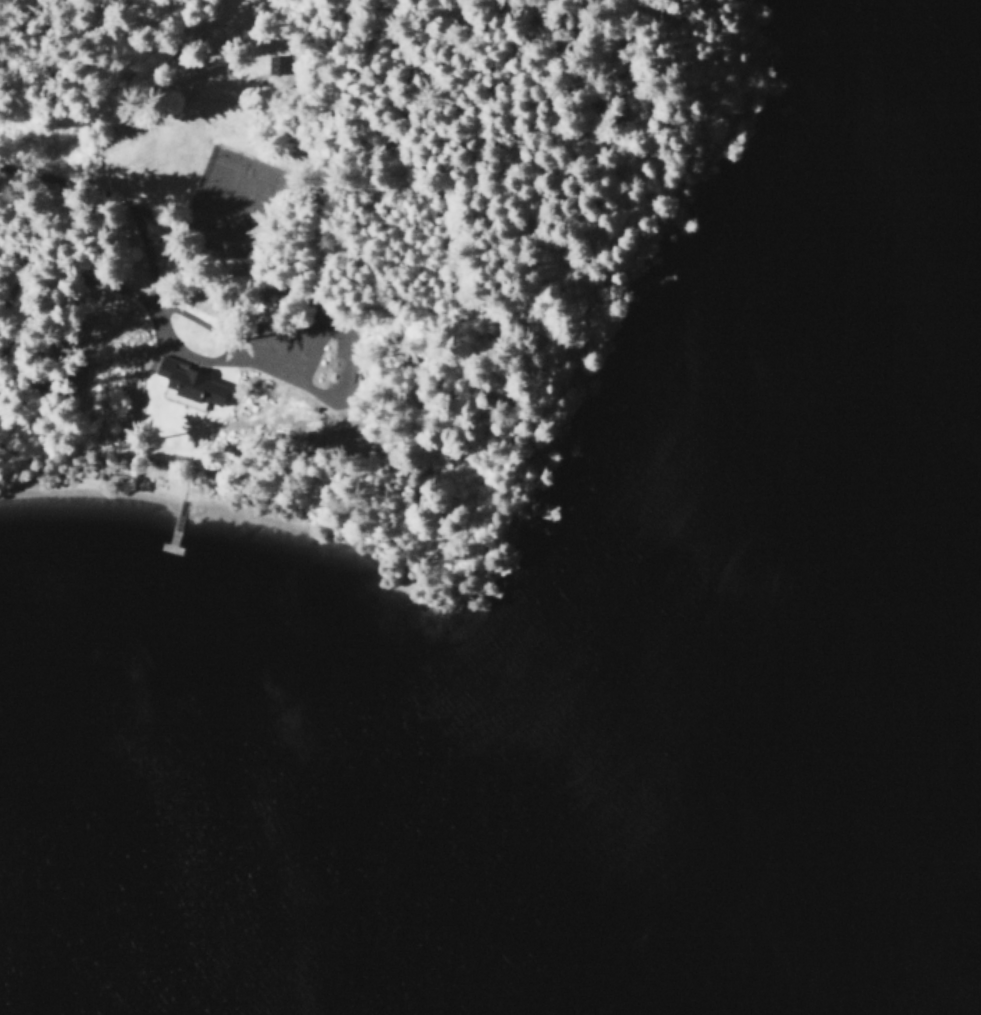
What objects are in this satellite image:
road: (333, 281)
building: (188, 382)

